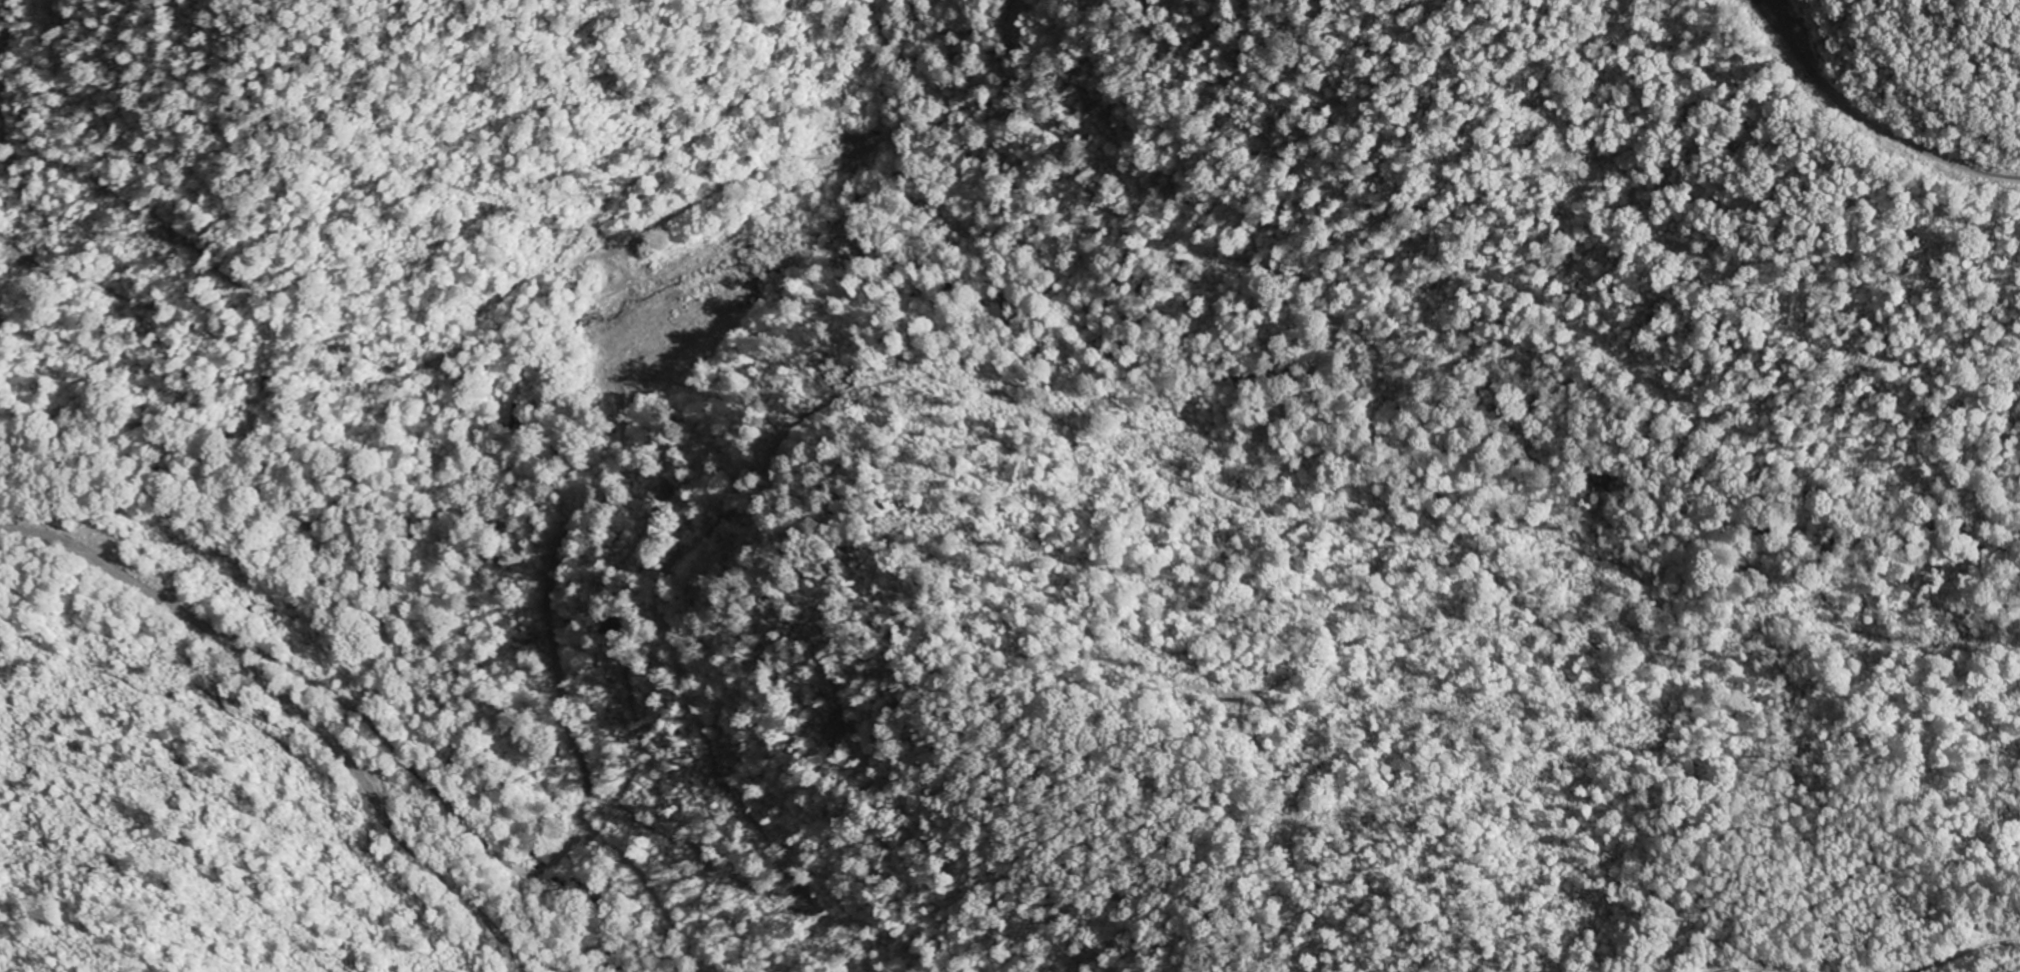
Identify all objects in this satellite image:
road: (285, 712)

